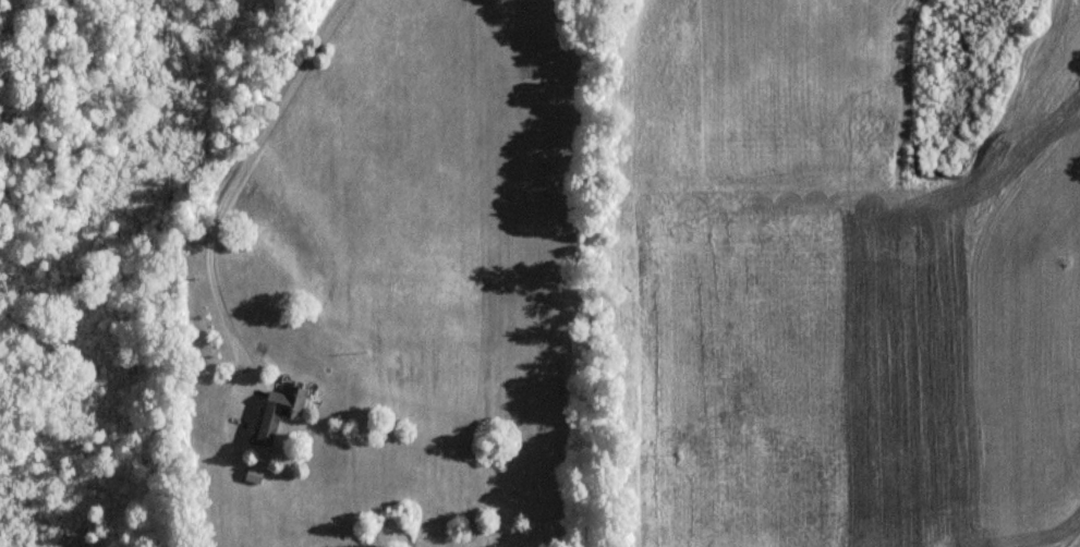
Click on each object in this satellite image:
building: (280, 412)
road: (1078, 544)

